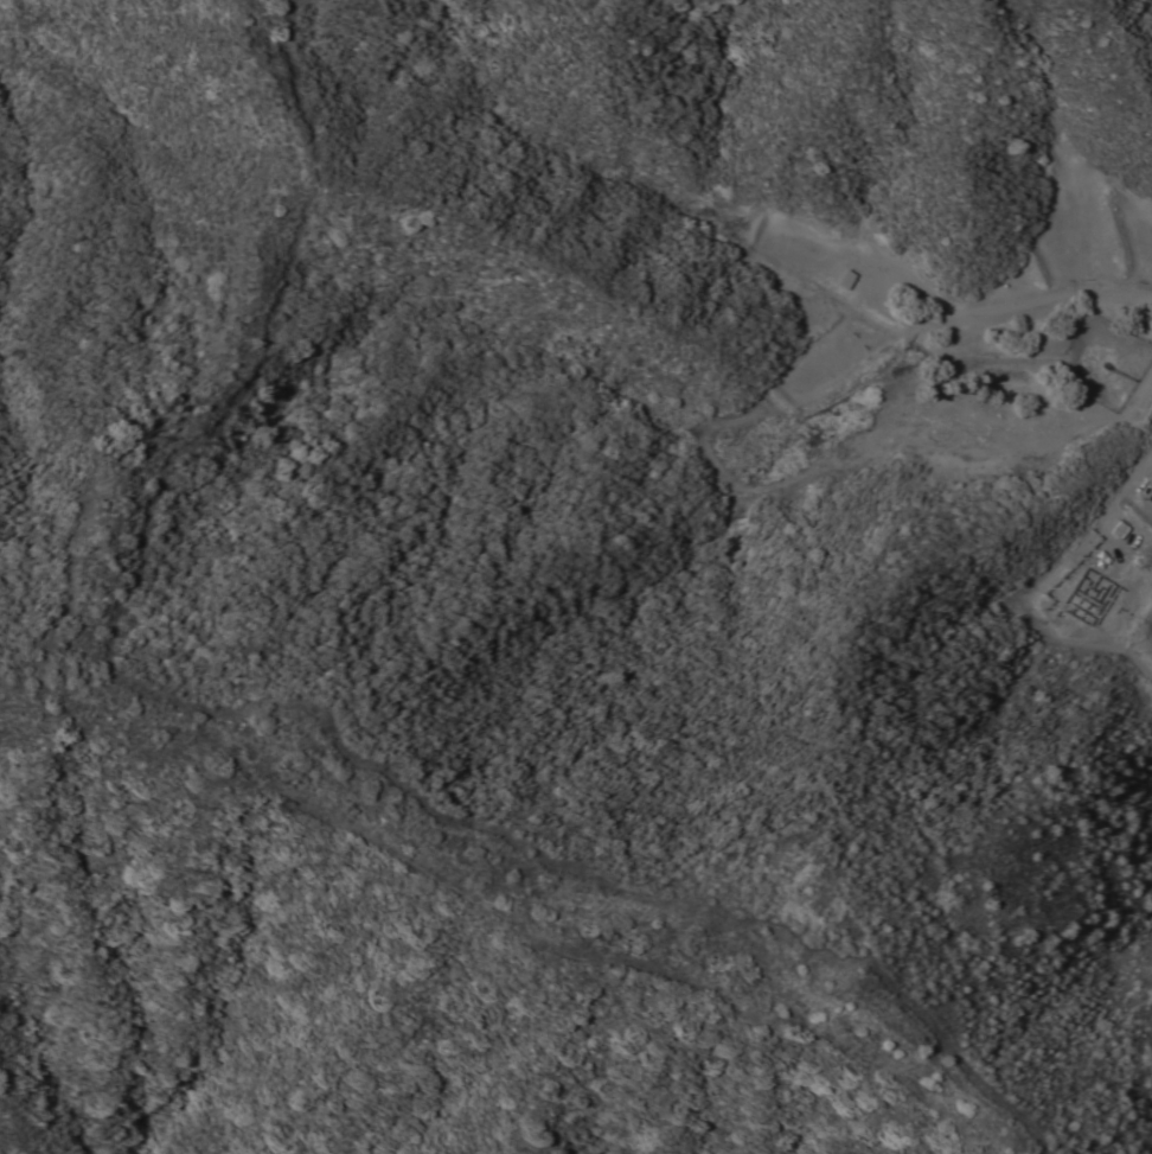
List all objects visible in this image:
building: (844, 278)
road: (958, 318)
building: (1099, 597)

